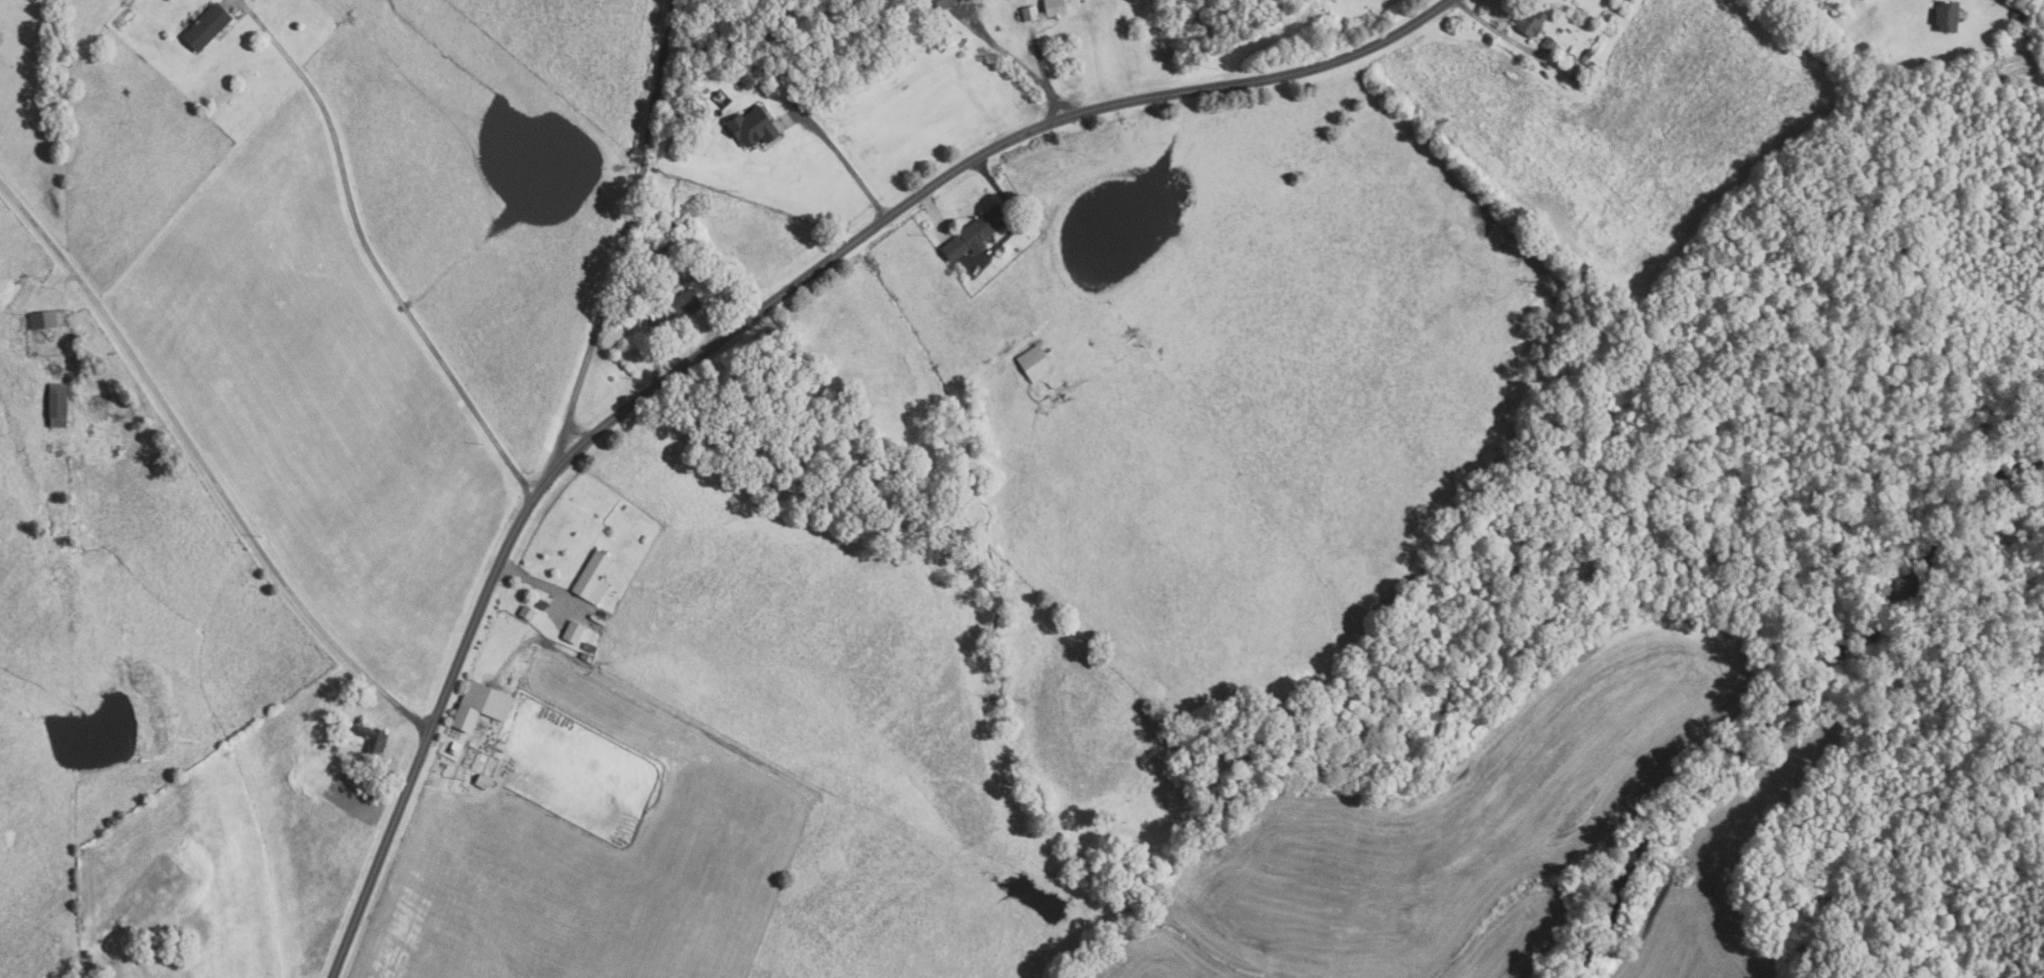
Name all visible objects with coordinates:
building: (944, 3)
building: (1057, 9)
building: (1945, 15)
building: (2015, 21)
building: (1528, 22)
building: (208, 26)
road: (1493, 29)
building: (1559, 29)
building: (1547, 43)
building: (1988, 53)
building: (1585, 55)
building: (1571, 57)
building: (1923, 62)
building: (1590, 64)
building: (1567, 69)
road: (1042, 75)
road: (660, 79)
building: (1583, 79)
building: (721, 93)
building: (707, 109)
building: (754, 126)
road: (845, 161)
road: (643, 166)
road: (1012, 217)
building: (976, 234)
building: (662, 248)
building: (1018, 249)
road: (374, 259)
road: (666, 286)
building: (632, 300)
building: (684, 303)
road: (599, 316)
building: (48, 318)
road: (740, 324)
building: (1036, 363)
crop: (319, 402)
building: (59, 404)
road: (204, 466)
building: (595, 578)
road: (547, 586)
building: (543, 604)
building: (528, 613)
building: (575, 632)
building: (591, 647)
building: (585, 656)
building: (482, 705)
building: (372, 735)
building: (323, 746)
building: (456, 748)
building: (483, 781)
crop: (1447, 832)
crop: (1713, 880)

